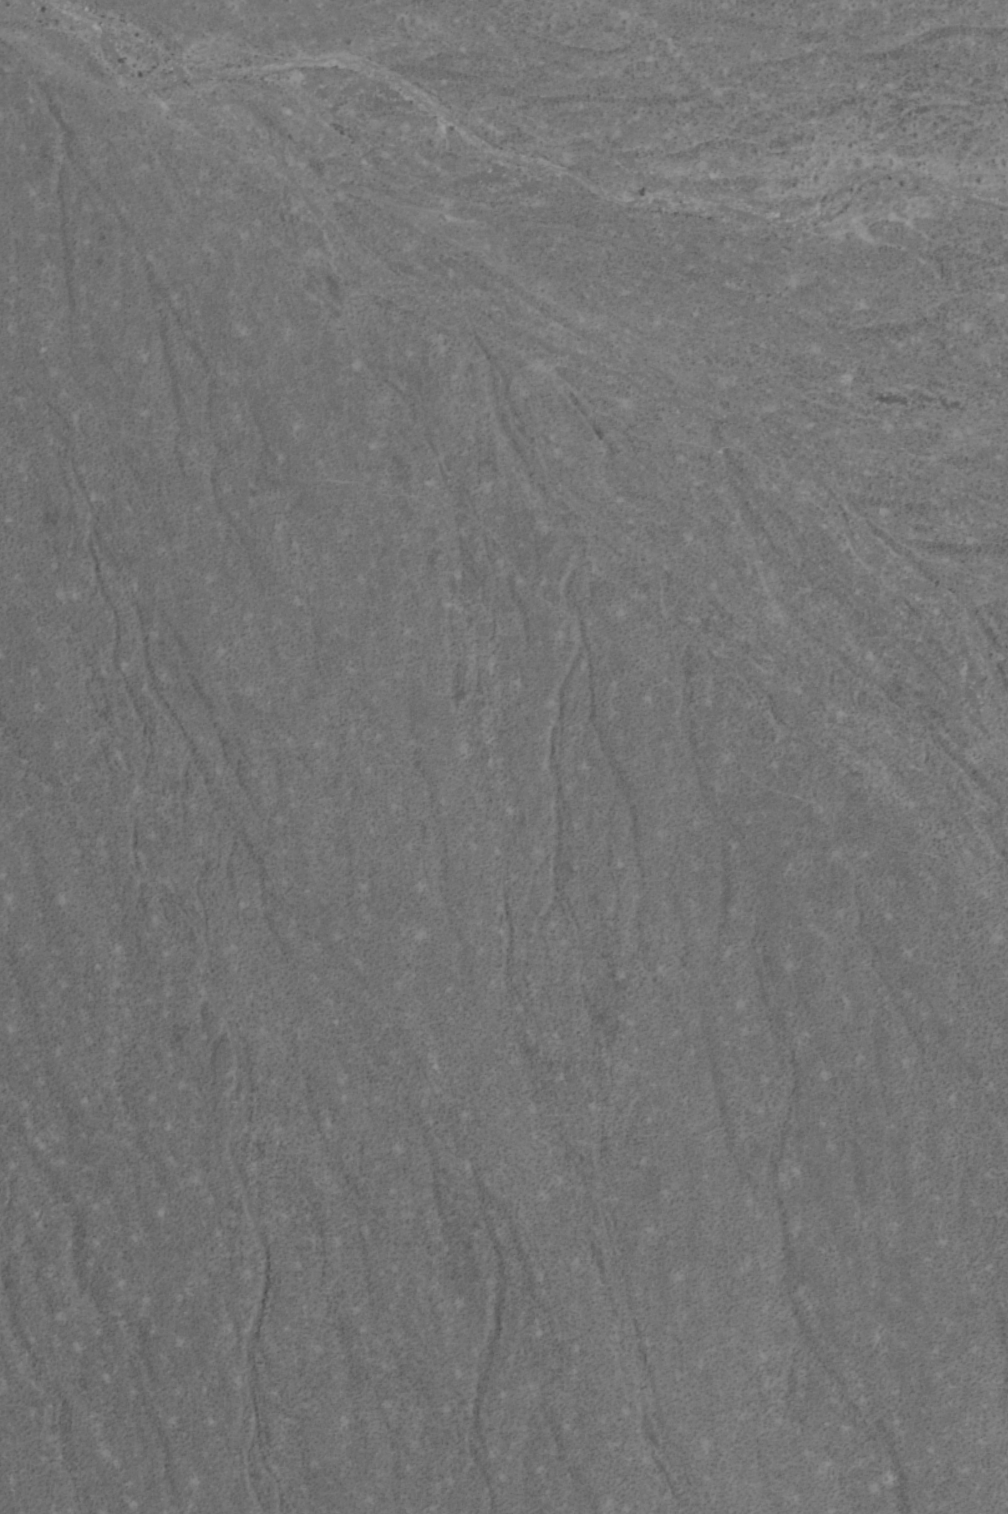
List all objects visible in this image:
road: (494, 221)

